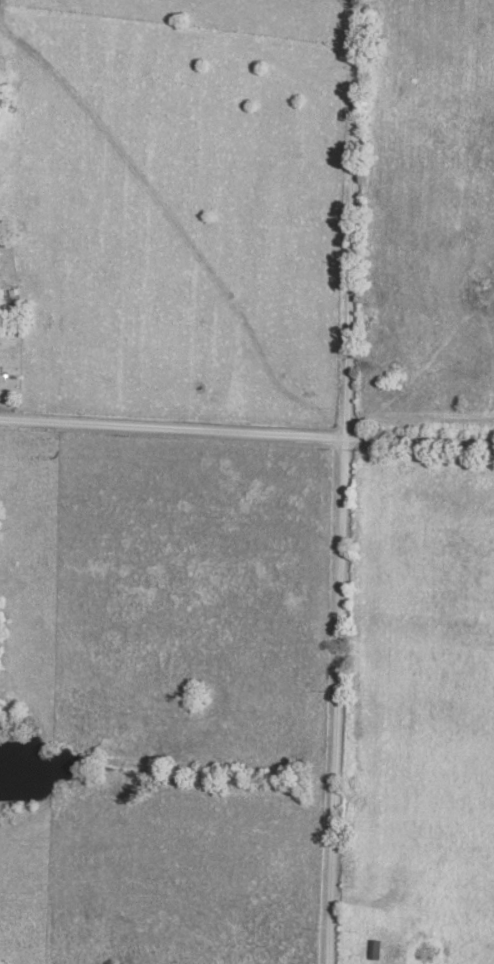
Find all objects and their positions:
road: (75, 302)
road: (246, 426)
road: (343, 481)

